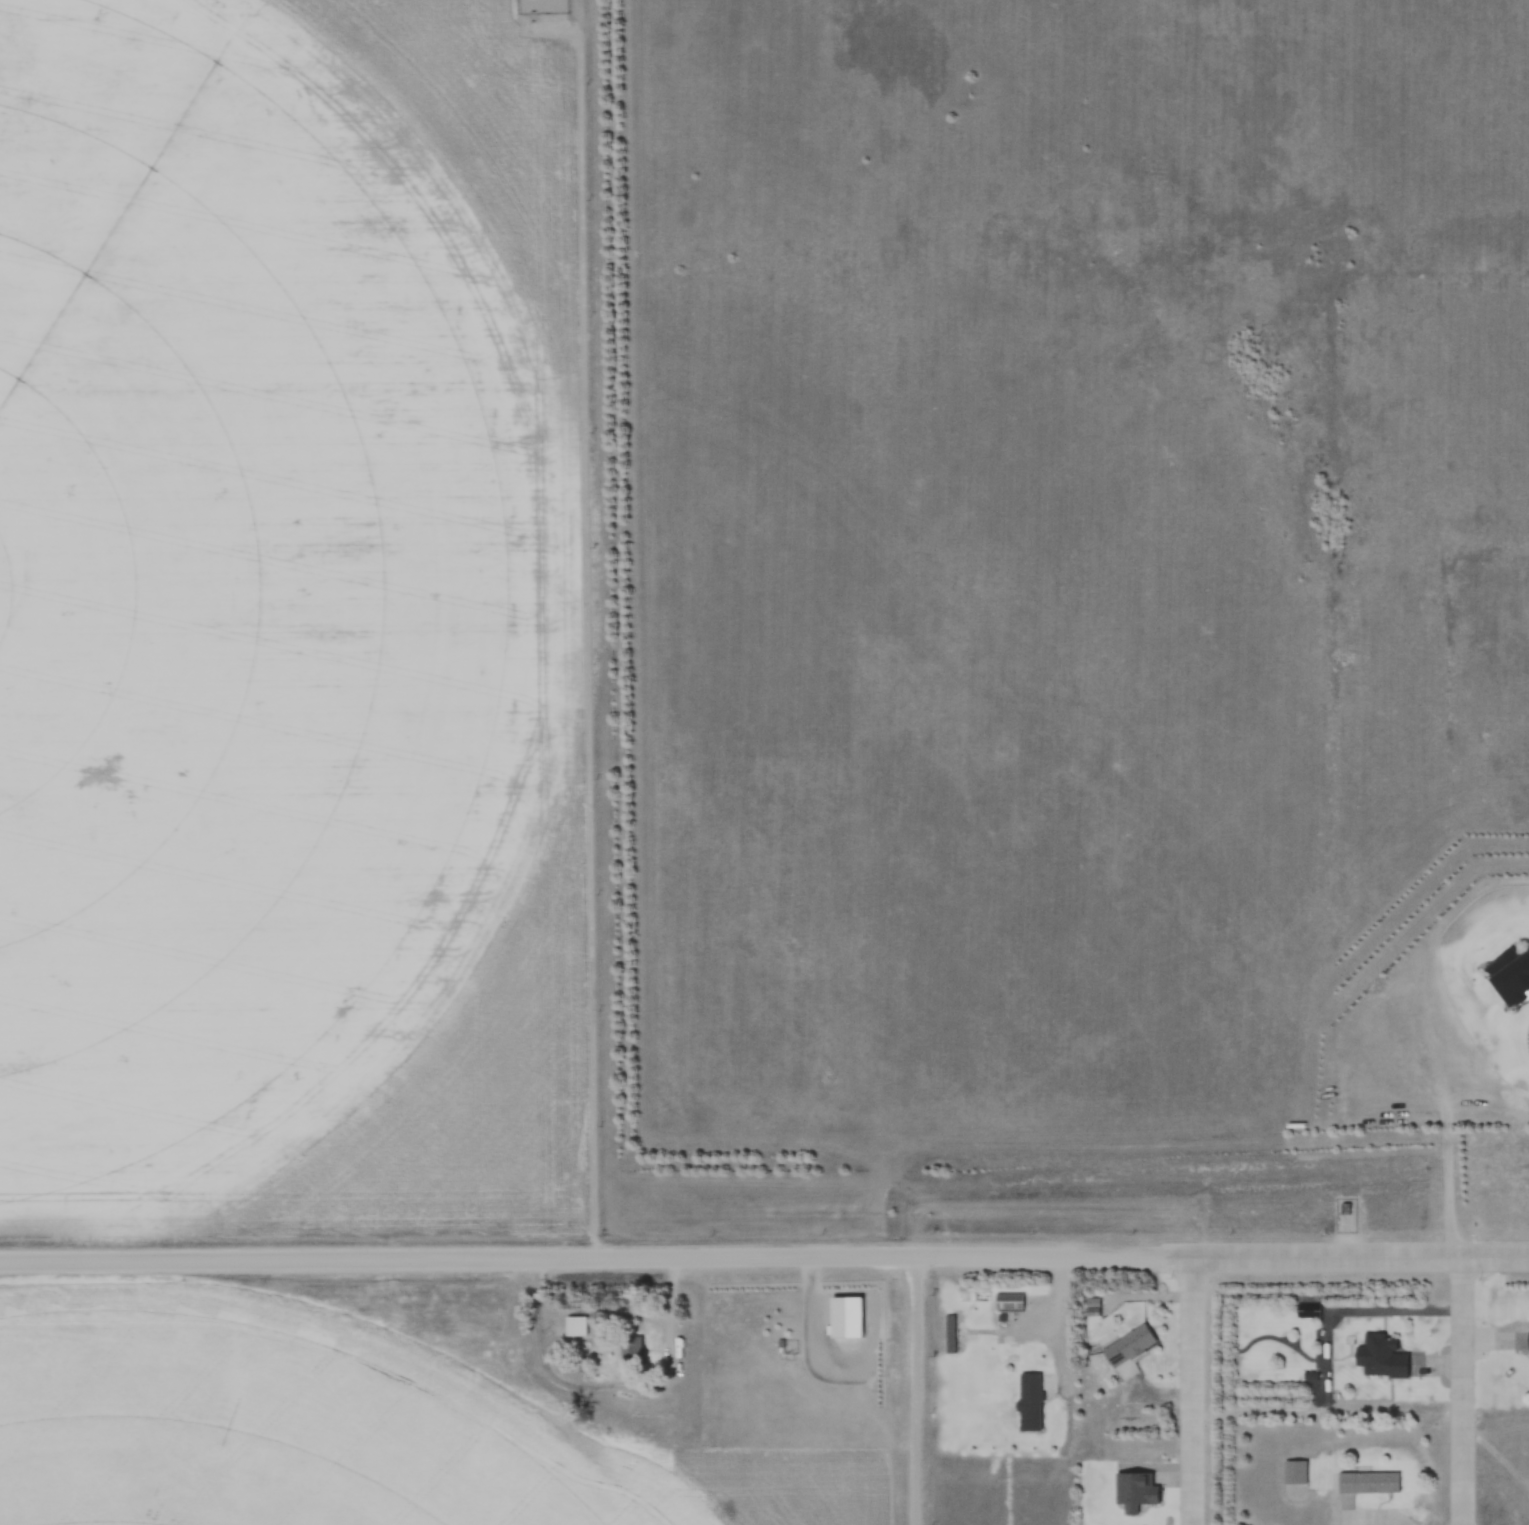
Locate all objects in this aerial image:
road: (584, 629)
building: (1344, 1210)
road: (764, 1256)
building: (1008, 1302)
building: (574, 1326)
building: (951, 1334)
building: (1526, 1341)
building: (1127, 1347)
building: (631, 1348)
building: (1379, 1357)
road: (677, 1362)
road: (1464, 1389)
road: (918, 1390)
road: (1196, 1390)
building: (1028, 1402)
building: (1294, 1472)
building: (1367, 1482)

